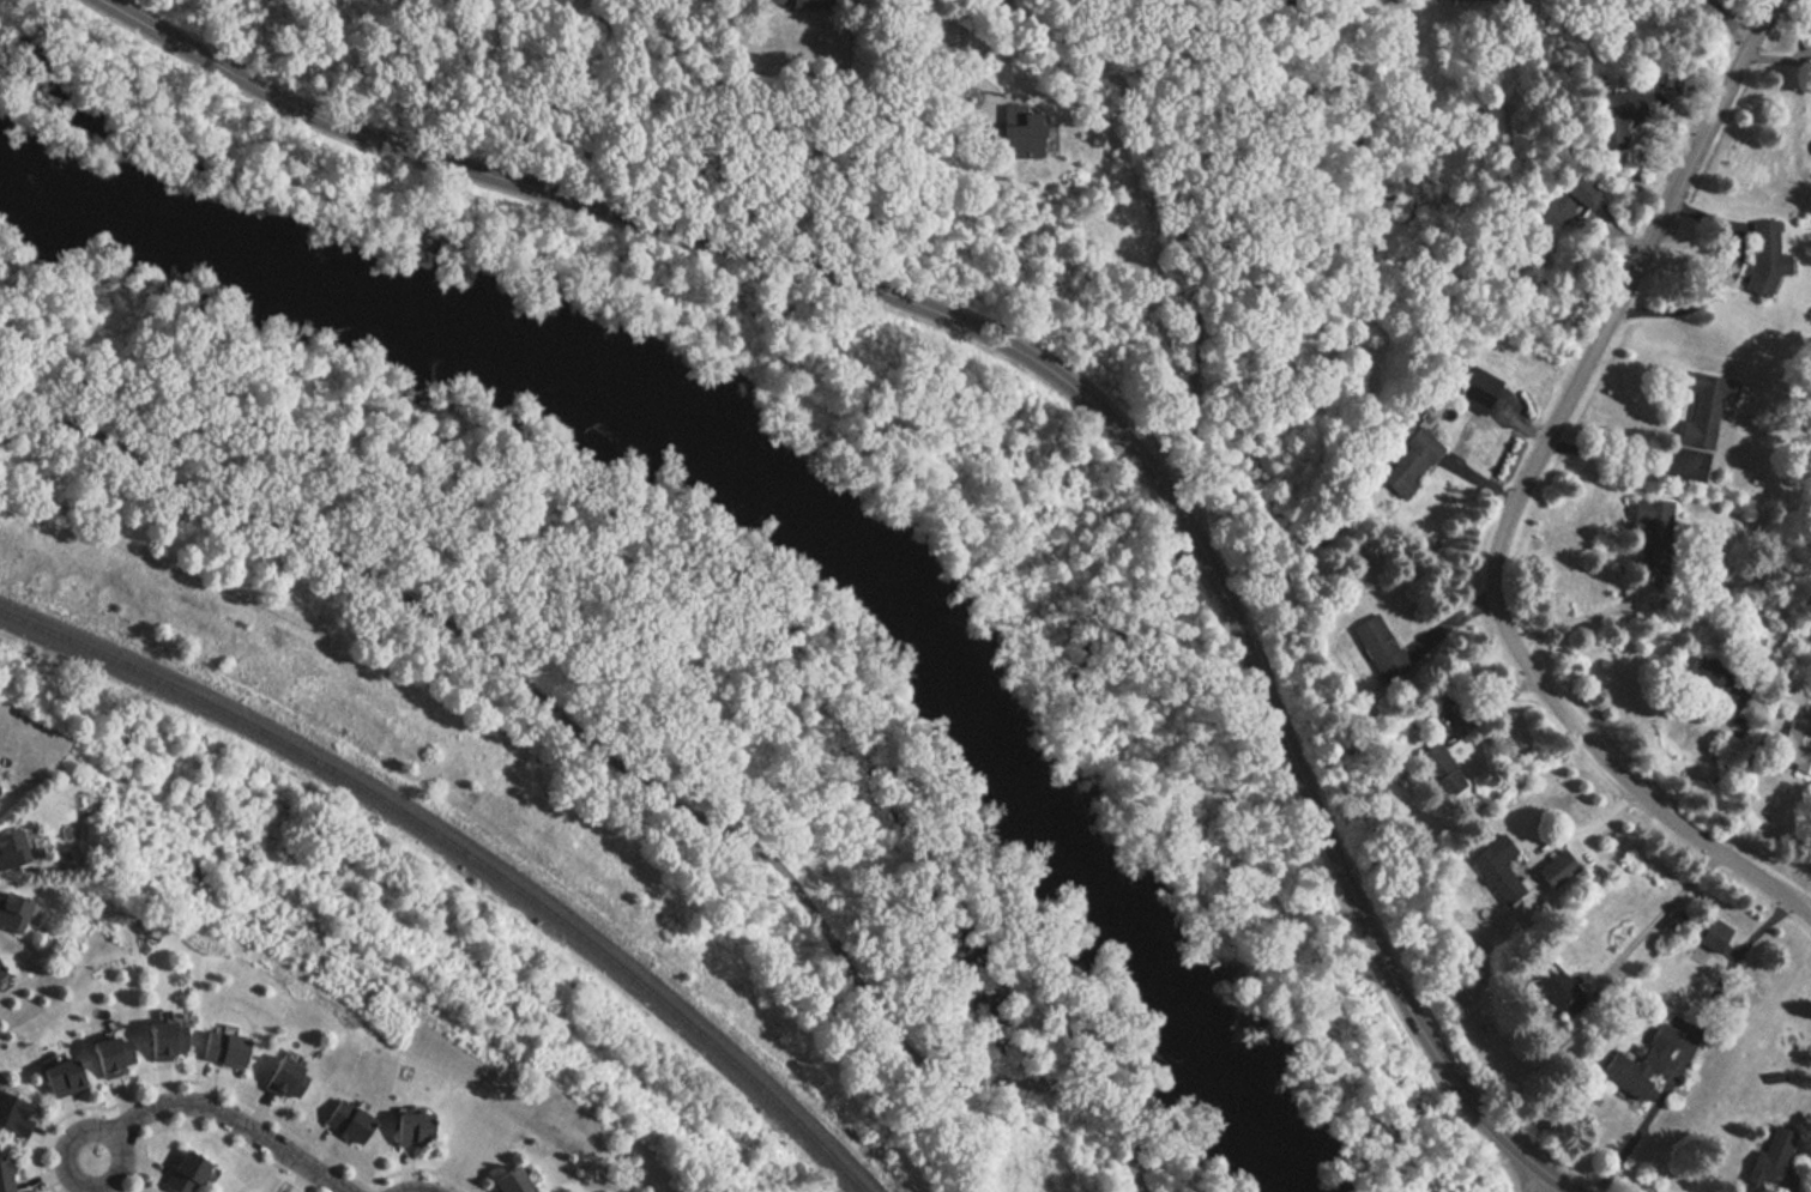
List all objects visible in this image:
building: (810, 5)
road: (1726, 24)
road: (941, 75)
building: (1618, 115)
building: (1016, 143)
building: (1578, 195)
road: (1175, 220)
building: (1764, 259)
road: (1726, 271)
road: (1019, 351)
building: (1703, 410)
road: (1525, 424)
road: (1618, 448)
building: (1407, 461)
road: (1484, 484)
road: (1521, 492)
river: (778, 502)
park: (730, 609)
road: (1583, 612)
building: (1378, 648)
road: (605, 744)
building: (1794, 749)
building: (1438, 769)
road: (1586, 833)
building: (12, 849)
railway: (466, 852)
building: (1553, 869)
building: (1493, 876)
building: (13, 912)
road: (1659, 914)
building: (1713, 934)
building: (1, 973)
building: (1557, 988)
building: (161, 1039)
building: (219, 1048)
building: (108, 1054)
building: (1637, 1061)
building: (58, 1076)
building: (280, 1078)
road: (230, 1096)
building: (12, 1115)
building: (345, 1121)
road: (231, 1125)
road: (1637, 1129)
road: (199, 1130)
building: (411, 1130)
road: (72, 1134)
building: (1776, 1156)
building: (179, 1173)
building: (2, 1174)
building: (507, 1180)
road: (1534, 1180)
road: (1556, 1180)
road: (419, 1191)

